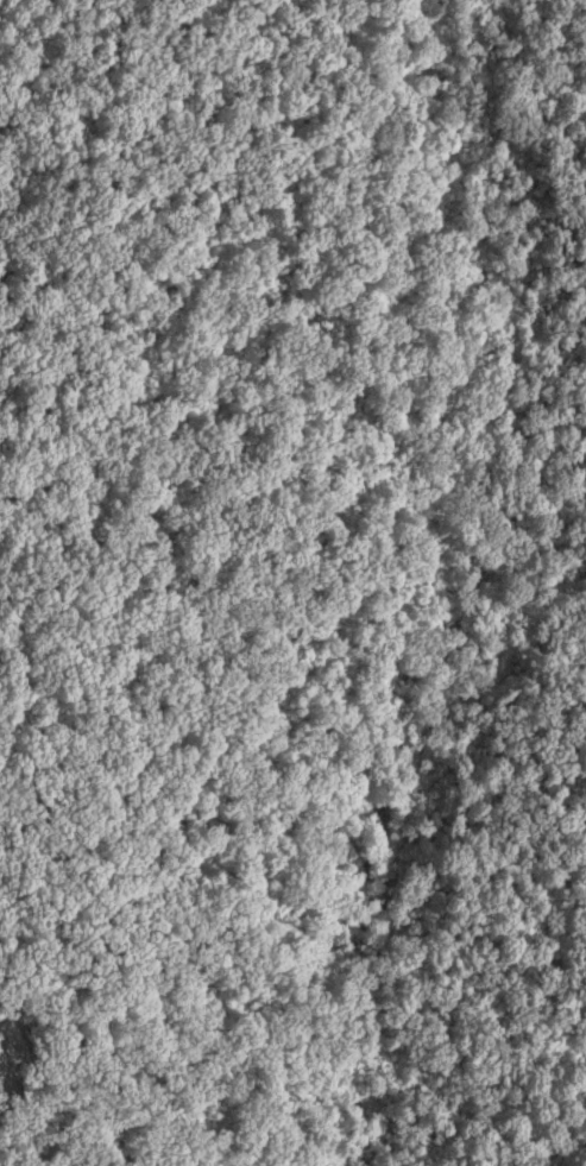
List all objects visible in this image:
building: (5, 1051)

